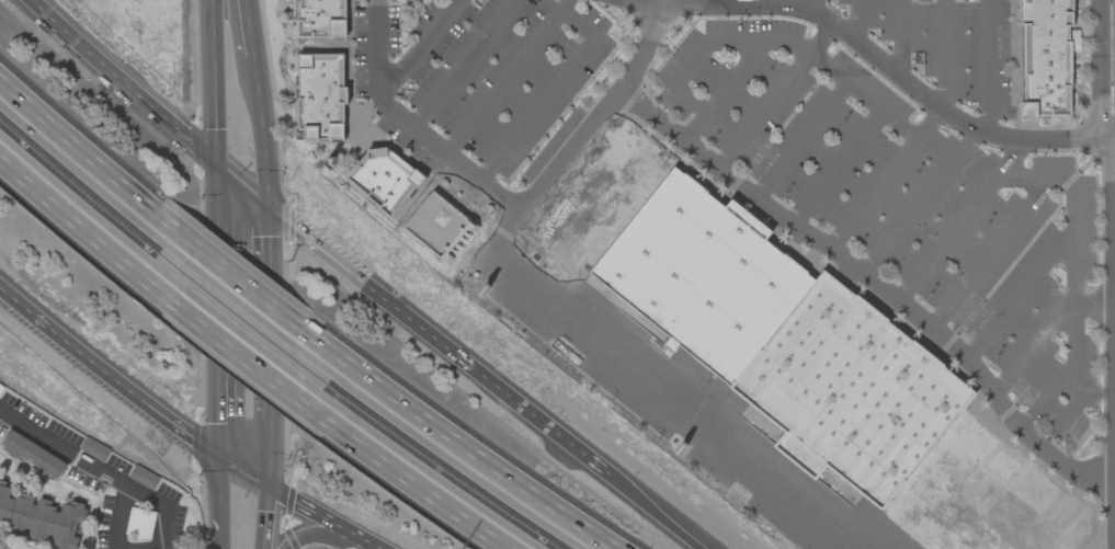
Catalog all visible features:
road: (646, 1)
road: (814, 7)
building: (320, 18)
road: (856, 21)
road: (578, 24)
road: (248, 27)
road: (900, 37)
road: (418, 44)
road: (691, 50)
road: (945, 56)
building: (1050, 59)
road: (459, 62)
road: (830, 66)
road: (889, 67)
road: (989, 67)
parking lot: (493, 68)
road: (1110, 68)
road: (112, 77)
road: (212, 88)
road: (775, 94)
building: (320, 95)
road: (930, 123)
road: (412, 126)
road: (261, 133)
road: (582, 136)
road: (801, 139)
road: (1009, 156)
road: (84, 160)
road: (203, 164)
road: (835, 165)
traffic signals: (215, 176)
building: (382, 179)
road: (240, 194)
road: (874, 197)
road: (920, 207)
traffic signals: (266, 211)
road: (1076, 220)
road: (79, 226)
building: (439, 226)
road: (946, 240)
road: (989, 258)
road: (215, 267)
road: (868, 288)
road: (367, 293)
road: (258, 298)
road: (1017, 299)
road: (1093, 306)
road: (1113, 306)
road: (1112, 311)
road: (26, 313)
road: (266, 317)
road: (1037, 335)
road: (242, 352)
road: (135, 397)
building: (851, 397)
road: (672, 407)
road: (216, 408)
road: (538, 428)
road: (1114, 444)
building: (93, 449)
road: (64, 450)
road: (268, 455)
building: (34, 456)
traffic signals: (216, 457)
road: (477, 457)
road: (241, 472)
road: (425, 481)
road: (1114, 484)
traffic signals: (268, 488)
road: (277, 493)
road: (217, 496)
road: (163, 508)
road: (1114, 510)
road: (120, 516)
road: (648, 516)
building: (41, 518)
road: (264, 518)
road: (330, 524)
road: (1114, 534)
road: (318, 538)
road: (1114, 541)
road: (218, 542)

